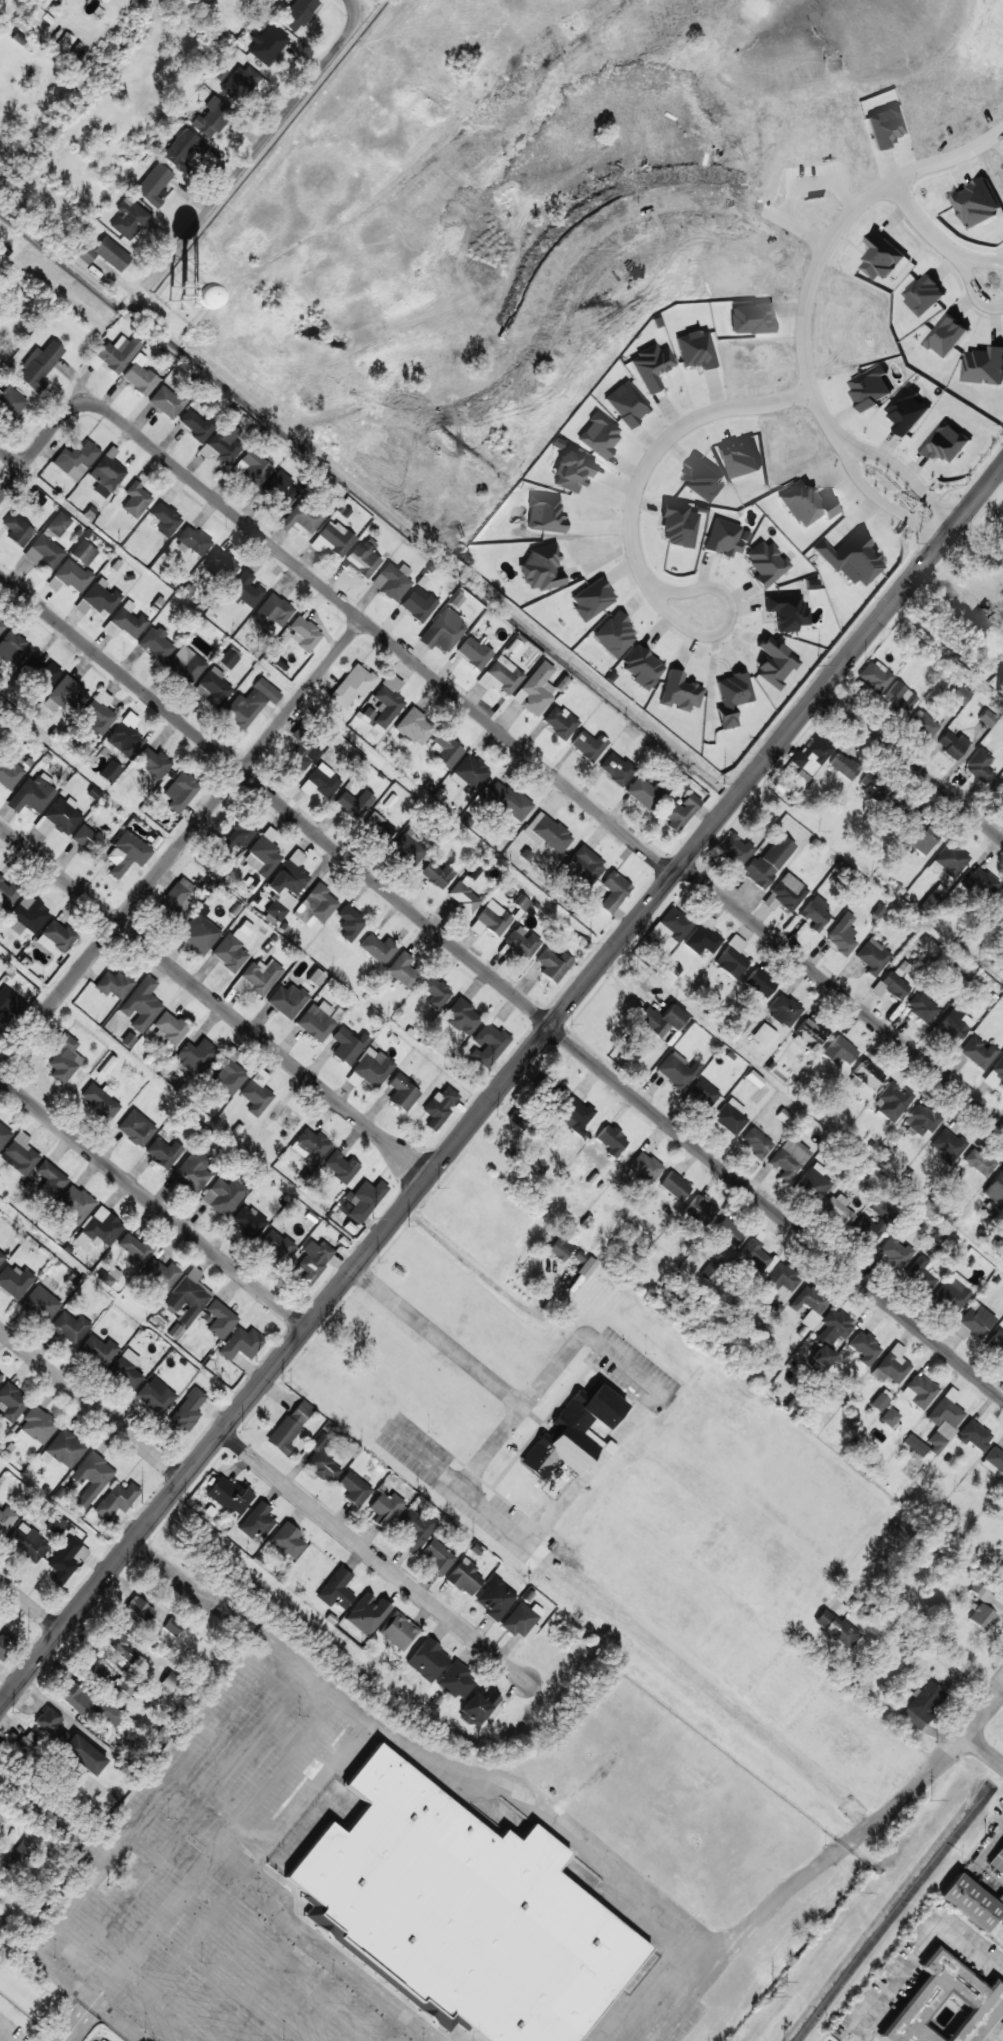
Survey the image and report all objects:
building: (41, 3)
road: (349, 10)
building: (36, 12)
building: (298, 13)
building: (64, 41)
building: (267, 44)
building: (238, 82)
building: (211, 117)
building: (183, 149)
road: (943, 160)
road: (241, 166)
building: (153, 184)
building: (977, 202)
road: (909, 213)
building: (128, 218)
building: (103, 254)
building: (881, 256)
road: (971, 264)
road: (812, 282)
road: (964, 288)
building: (924, 294)
building: (183, 296)
building: (946, 335)
building: (695, 349)
building: (114, 354)
building: (39, 364)
building: (984, 365)
building: (650, 366)
building: (138, 376)
building: (166, 401)
building: (11, 402)
building: (626, 403)
building: (195, 425)
building: (599, 434)
building: (945, 442)
building: (222, 444)
road: (39, 445)
road: (11, 457)
building: (75, 459)
road: (884, 464)
building: (251, 467)
building: (570, 471)
building: (106, 473)
building: (279, 488)
building: (35, 498)
building: (135, 500)
building: (805, 503)
building: (544, 514)
building: (165, 518)
building: (300, 519)
building: (58, 523)
building: (678, 525)
building: (17, 530)
building: (723, 537)
building: (331, 539)
building: (193, 540)
road: (635, 541)
building: (44, 552)
building: (83, 552)
building: (362, 558)
building: (850, 558)
building: (222, 563)
building: (700, 563)
building: (765, 563)
building: (541, 568)
building: (720, 568)
building: (72, 575)
building: (392, 581)
building: (735, 581)
building: (244, 590)
building: (98, 597)
building: (591, 599)
building: (418, 604)
building: (786, 611)
building: (271, 613)
building: (127, 620)
building: (980, 620)
building: (1, 626)
building: (442, 630)
building: (303, 632)
building: (614, 635)
building: (154, 644)
building: (12, 649)
building: (473, 652)
building: (228, 657)
building: (774, 663)
building: (185, 664)
building: (642, 668)
building: (46, 675)
building: (500, 676)
building: (874, 676)
building: (352, 685)
building: (212, 687)
building: (535, 689)
building: (679, 691)
building: (65, 695)
building: (961, 695)
building: (731, 697)
building: (898, 698)
building: (250, 703)
building: (383, 703)
building: (96, 714)
building: (986, 718)
building: (559, 721)
building: (923, 724)
building: (414, 727)
building: (123, 739)
building: (952, 744)
building: (588, 745)
building: (445, 750)
building: (811, 754)
building: (303, 759)
building: (153, 762)
road: (545, 764)
building: (979, 765)
building: (843, 766)
building: (615, 768)
building: (109, 771)
building: (471, 771)
road: (909, 772)
building: (8, 773)
building: (323, 780)
building: (872, 786)
building: (999, 788)
building: (180, 791)
building: (643, 792)
building: (32, 794)
building: (505, 800)
building: (354, 803)
building: (680, 811)
building: (58, 817)
building: (379, 828)
building: (547, 832)
building: (237, 834)
building: (919, 839)
building: (88, 840)
road: (181, 844)
building: (408, 848)
building: (734, 849)
building: (263, 853)
building: (124, 854)
building: (948, 859)
building: (768, 861)
building: (584, 865)
building: (436, 874)
building: (979, 881)
building: (286, 885)
building: (465, 891)
building: (613, 891)
building: (7, 892)
building: (785, 893)
building: (176, 895)
building: (929, 902)
building: (315, 906)
building: (814, 912)
building: (26, 916)
building: (491, 920)
building: (349, 922)
building: (675, 924)
building: (841, 934)
building: (198, 935)
building: (55, 937)
building: (701, 940)
building: (522, 941)
building: (232, 947)
building: (378, 948)
building: (872, 956)
building: (731, 958)
building: (553, 964)
building: (404, 970)
building: (256, 977)
building: (314, 977)
building: (894, 981)
building: (759, 982)
building: (114, 984)
road: (501, 984)
building: (435, 991)
building: (286, 1000)
road: (214, 1001)
building: (141, 1005)
building: (8, 1006)
building: (922, 1007)
building: (782, 1010)
building: (462, 1017)
building: (317, 1020)
building: (660, 1020)
building: (740, 1024)
building: (953, 1024)
building: (170, 1026)
building: (810, 1034)
building: (763, 1035)
building: (347, 1045)
building: (487, 1045)
building: (839, 1051)
building: (978, 1052)
building: (195, 1055)
building: (64, 1060)
building: (369, 1068)
building: (677, 1069)
building: (867, 1074)
building: (995, 1074)
building: (227, 1075)
building: (753, 1078)
road: (501, 1084)
building: (552, 1090)
building: (402, 1092)
building: (256, 1093)
building: (702, 1093)
building: (99, 1100)
building: (892, 1101)
building: (439, 1107)
building: (575, 1112)
building: (782, 1116)
building: (728, 1117)
building: (518, 1118)
building: (921, 1120)
building: (136, 1128)
building: (3, 1135)
building: (611, 1140)
building: (755, 1142)
building: (946, 1143)
building: (310, 1144)
building: (163, 1152)
building: (19, 1154)
building: (788, 1158)
building: (978, 1161)
building: (339, 1165)
building: (644, 1167)
building: (192, 1171)
building: (49, 1180)
building: (812, 1184)
building: (674, 1185)
building: (995, 1189)
building: (223, 1195)
building: (364, 1199)
road: (152, 1202)
building: (73, 1204)
building: (699, 1210)
building: (838, 1210)
building: (247, 1221)
building: (102, 1227)
building: (868, 1230)
building: (727, 1232)
building: (275, 1245)
building: (134, 1248)
building: (560, 1248)
building: (894, 1251)
building: (753, 1253)
building: (1, 1257)
road: (463, 1258)
building: (313, 1261)
building: (586, 1267)
building: (161, 1273)
building: (919, 1274)
building: (15, 1281)
building: (777, 1286)
building: (950, 1295)
building: (186, 1297)
building: (40, 1304)
building: (807, 1305)
building: (219, 1319)
building: (973, 1321)
building: (69, 1326)
building: (833, 1327)
building: (175, 1331)
building: (996, 1343)
building: (240, 1344)
building: (864, 1348)
building: (97, 1349)
building: (822, 1356)
building: (891, 1365)
building: (125, 1369)
building: (0, 1376)
building: (0, 1378)
building: (918, 1391)
building: (154, 1395)
building: (11, 1401)
building: (878, 1402)
road: (91, 1403)
building: (186, 1411)
building: (888, 1417)
building: (942, 1423)
building: (37, 1424)
building: (288, 1426)
building: (572, 1432)
building: (975, 1435)
building: (64, 1448)
building: (994, 1458)
building: (321, 1461)
building: (89, 1478)
building: (353, 1488)
building: (228, 1494)
building: (116, 1501)
building: (384, 1508)
building: (5, 1518)
building: (256, 1520)
building: (55, 1525)
building: (414, 1529)
road: (524, 1536)
building: (287, 1540)
building: (27, 1542)
road: (374, 1556)
building: (436, 1556)
building: (65, 1559)
building: (464, 1578)
building: (335, 1588)
building: (981, 1593)
building: (495, 1598)
road: (30, 1605)
road: (970, 1607)
building: (366, 1612)
building: (150, 1615)
building: (981, 1616)
building: (518, 1619)
building: (836, 1629)
building: (397, 1630)
building: (116, 1640)
building: (4, 1648)
building: (426, 1658)
building: (135, 1660)
building: (93, 1666)
building: (455, 1680)
building: (172, 1684)
building: (126, 1686)
building: (75, 1696)
building: (925, 1701)
building: (477, 1706)
road: (984, 1710)
building: (108, 1712)
building: (49, 1725)
building: (27, 1748)
road: (984, 1749)
building: (82, 1754)
road: (562, 1826)
building: (0, 1830)
building: (999, 1852)
building: (20, 1856)
building: (969, 1902)
building: (460, 1911)
building: (945, 2005)

